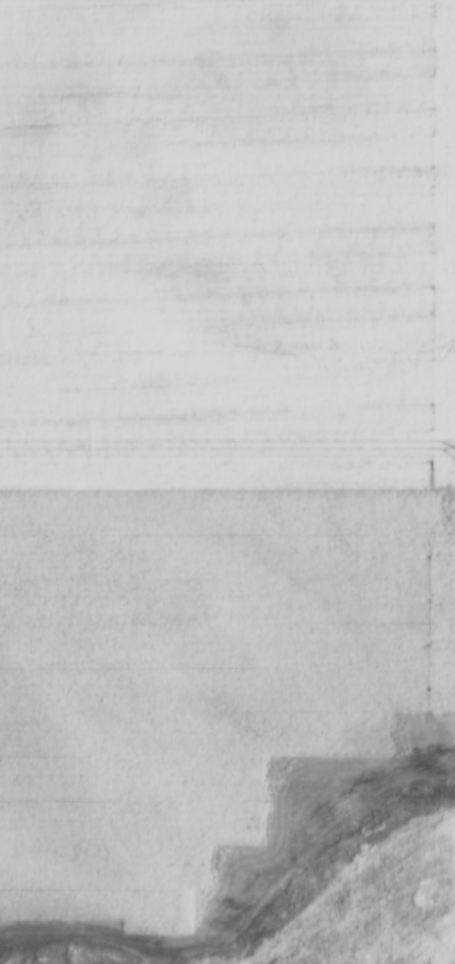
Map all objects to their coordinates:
crop: (218, 447)

